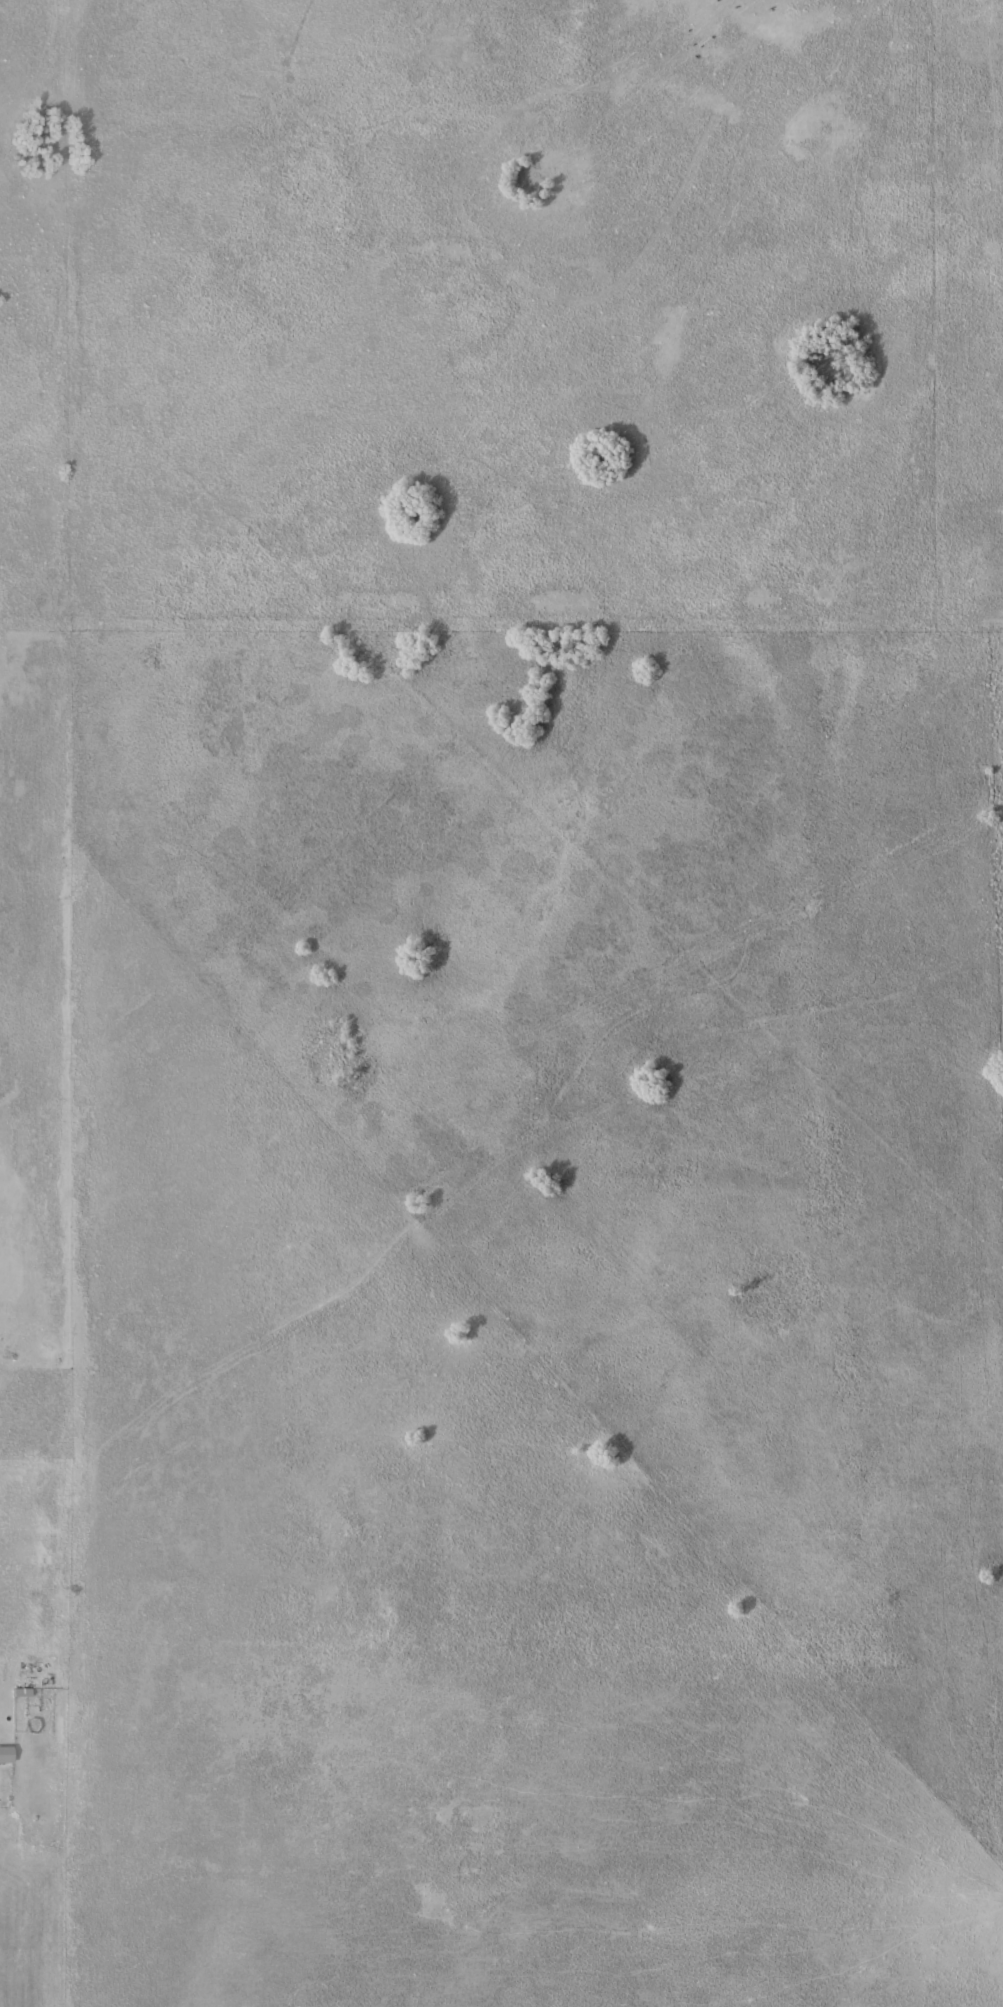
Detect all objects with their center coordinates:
building: (6, 1754)

